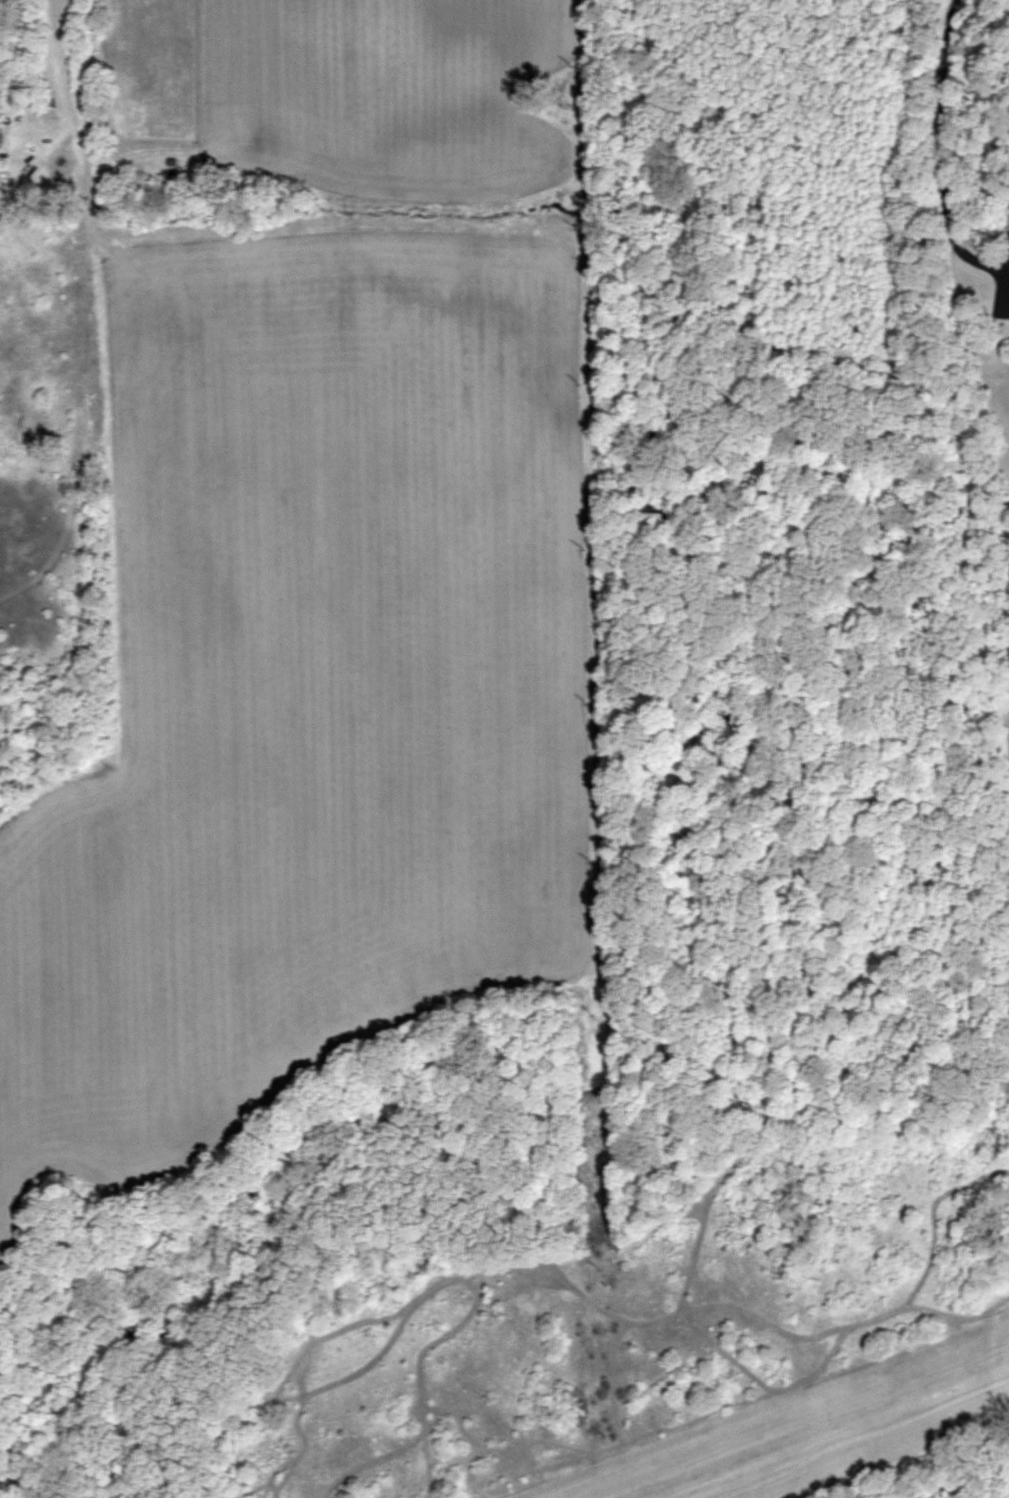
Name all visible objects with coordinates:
road: (937, 155)
road: (78, 314)

